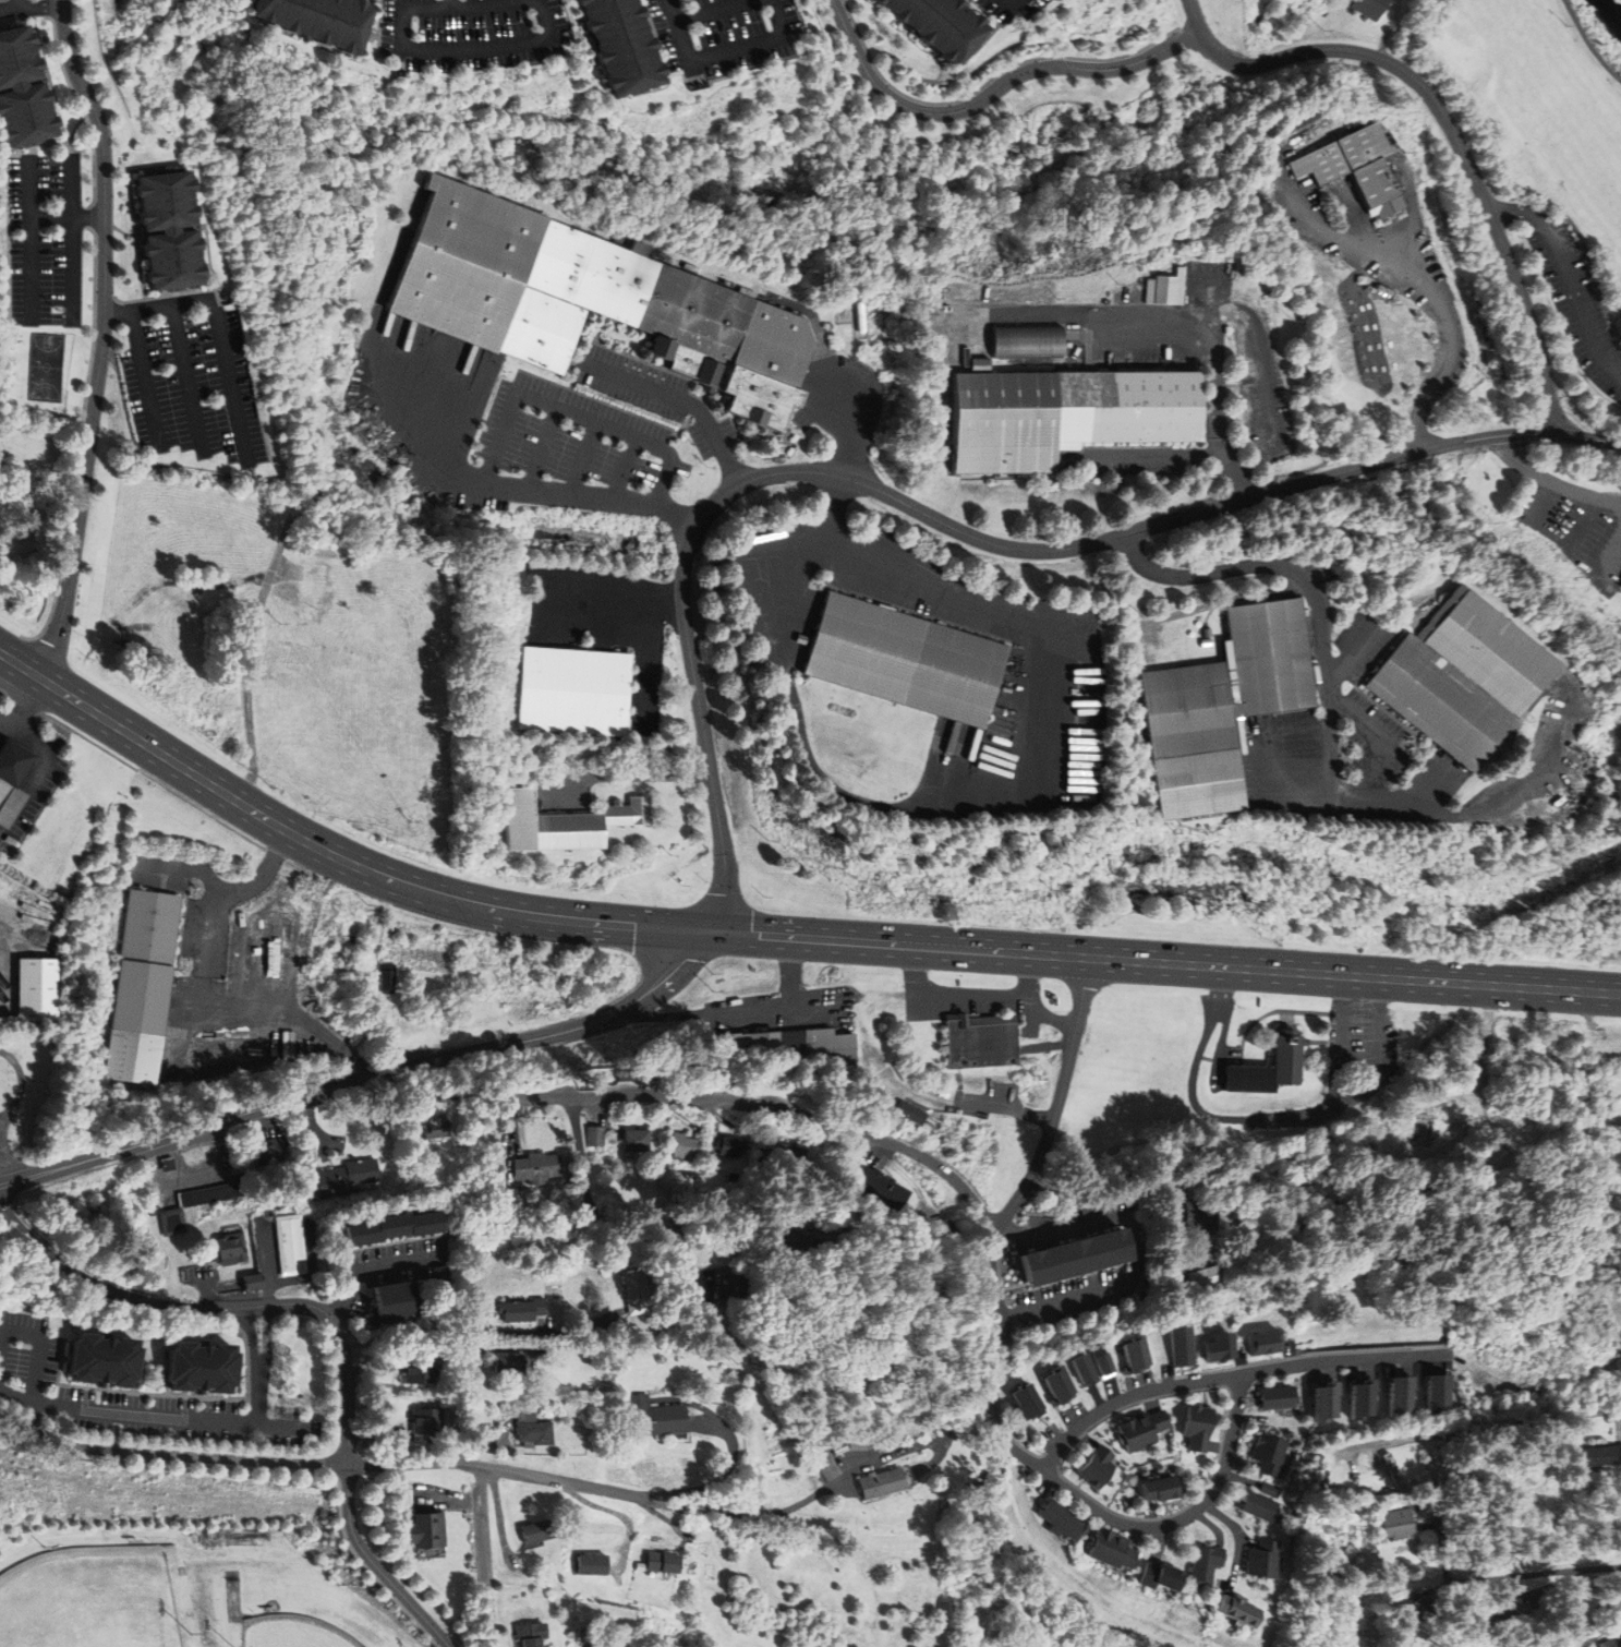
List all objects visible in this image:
road: (378, 1)
road: (402, 2)
road: (450, 3)
road: (1013, 3)
road: (19, 4)
building: (1369, 7)
road: (31, 8)
road: (52, 8)
river: (1613, 8)
parking lot: (1012, 9)
road: (712, 10)
road: (1198, 14)
park: (1256, 17)
building: (316, 19)
building: (940, 24)
road: (1001, 24)
parking lot: (471, 33)
parking lot: (721, 33)
road: (377, 43)
building: (620, 43)
road: (1588, 43)
road: (414, 48)
road: (718, 51)
road: (662, 57)
road: (680, 76)
road: (50, 82)
road: (990, 85)
building: (21, 91)
road: (995, 94)
road: (83, 108)
road: (1455, 133)
road: (59, 142)
road: (33, 146)
park: (1545, 156)
building: (1350, 163)
road: (1507, 177)
road: (1521, 212)
road: (68, 217)
road: (94, 217)
building: (165, 230)
parking lot: (47, 238)
road: (73, 238)
road: (32, 239)
building: (1164, 289)
road: (194, 291)
road: (1585, 293)
building: (589, 300)
building: (1619, 304)
road: (1580, 305)
road: (159, 306)
parking lot: (1576, 308)
road: (1616, 317)
road: (1140, 328)
road: (1456, 328)
road: (104, 338)
building: (1027, 341)
building: (936, 350)
road: (1611, 353)
park: (46, 366)
road: (145, 377)
road: (187, 377)
parking lot: (191, 378)
road: (230, 380)
road: (678, 401)
building: (1064, 413)
road: (577, 414)
road: (845, 421)
road: (1589, 437)
road: (80, 444)
road: (1171, 455)
road: (1552, 481)
road: (529, 482)
road: (920, 512)
building: (1618, 589)
building: (310, 593)
road: (616, 601)
road: (1218, 604)
building: (905, 659)
road: (21, 663)
road: (640, 663)
building: (1463, 678)
building: (573, 692)
road: (26, 704)
building: (1223, 706)
road: (1330, 738)
building: (16, 759)
road: (40, 768)
building: (5, 777)
road: (1007, 780)
building: (562, 822)
road: (358, 864)
traffic signals: (716, 931)
building: (143, 960)
road: (1169, 962)
building: (388, 979)
building: (39, 989)
road: (209, 993)
building: (463, 1019)
building: (921, 1034)
building: (733, 1041)
building: (763, 1043)
building: (791, 1043)
building: (980, 1044)
building: (831, 1046)
building: (130, 1055)
building: (1286, 1059)
building: (634, 1074)
road: (371, 1078)
building: (1250, 1078)
park: (26, 1080)
road: (22, 1083)
road: (435, 1094)
road: (1060, 1098)
road: (766, 1107)
road: (983, 1107)
building: (911, 1113)
building: (435, 1128)
building: (961, 1130)
building: (595, 1135)
building: (634, 1140)
building: (682, 1144)
building: (729, 1145)
building: (268, 1153)
building: (789, 1153)
road: (7, 1158)
building: (166, 1163)
building: (536, 1167)
building: (347, 1177)
building: (883, 1188)
building: (216, 1192)
building: (510, 1195)
road: (670, 1211)
building: (1198, 1212)
building: (171, 1222)
building: (390, 1227)
road: (1059, 1228)
building: (943, 1229)
building: (786, 1239)
building: (290, 1245)
building: (231, 1249)
building: (1073, 1257)
road: (371, 1265)
building: (440, 1274)
building: (1205, 1277)
building: (252, 1282)
building: (727, 1286)
building: (634, 1290)
building: (394, 1301)
road: (1061, 1301)
road: (226, 1308)
building: (521, 1309)
building: (1263, 1343)
building: (1182, 1346)
building: (1222, 1347)
road: (40, 1348)
building: (1136, 1355)
building: (100, 1360)
building: (507, 1362)
building: (1105, 1363)
building: (198, 1368)
road: (261, 1369)
building: (1085, 1369)
building: (415, 1370)
road: (1231, 1376)
building: (1061, 1385)
building: (1400, 1395)
road: (259, 1396)
road: (15, 1397)
building: (1279, 1397)
building: (1437, 1397)
building: (1362, 1399)
building: (1028, 1402)
building: (1326, 1402)
road: (477, 1406)
road: (167, 1416)
building: (656, 1416)
building: (425, 1420)
road: (1486, 1426)
building: (1200, 1427)
building: (1145, 1429)
building: (534, 1432)
building: (1272, 1454)
building: (1601, 1455)
road: (359, 1465)
building: (825, 1466)
building: (1099, 1467)
road: (854, 1470)
building: (1393, 1471)
building: (881, 1482)
road: (1065, 1487)
building: (1162, 1489)
building: (1273, 1490)
building: (1262, 1506)
building: (1057, 1518)
building: (1396, 1522)
building: (423, 1530)
building: (536, 1531)
building: (1109, 1549)
road: (483, 1556)
building: (1263, 1560)
building: (662, 1562)
building: (1205, 1562)
building: (591, 1563)
road: (377, 1565)
road: (366, 1566)
road: (1532, 1573)
building: (1158, 1576)
park: (98, 1599)
building: (1235, 1610)
building: (1414, 1610)
building: (1511, 1610)
park: (297, 1632)
building: (529, 1634)
building: (1613, 1642)
building: (609, 1646)

